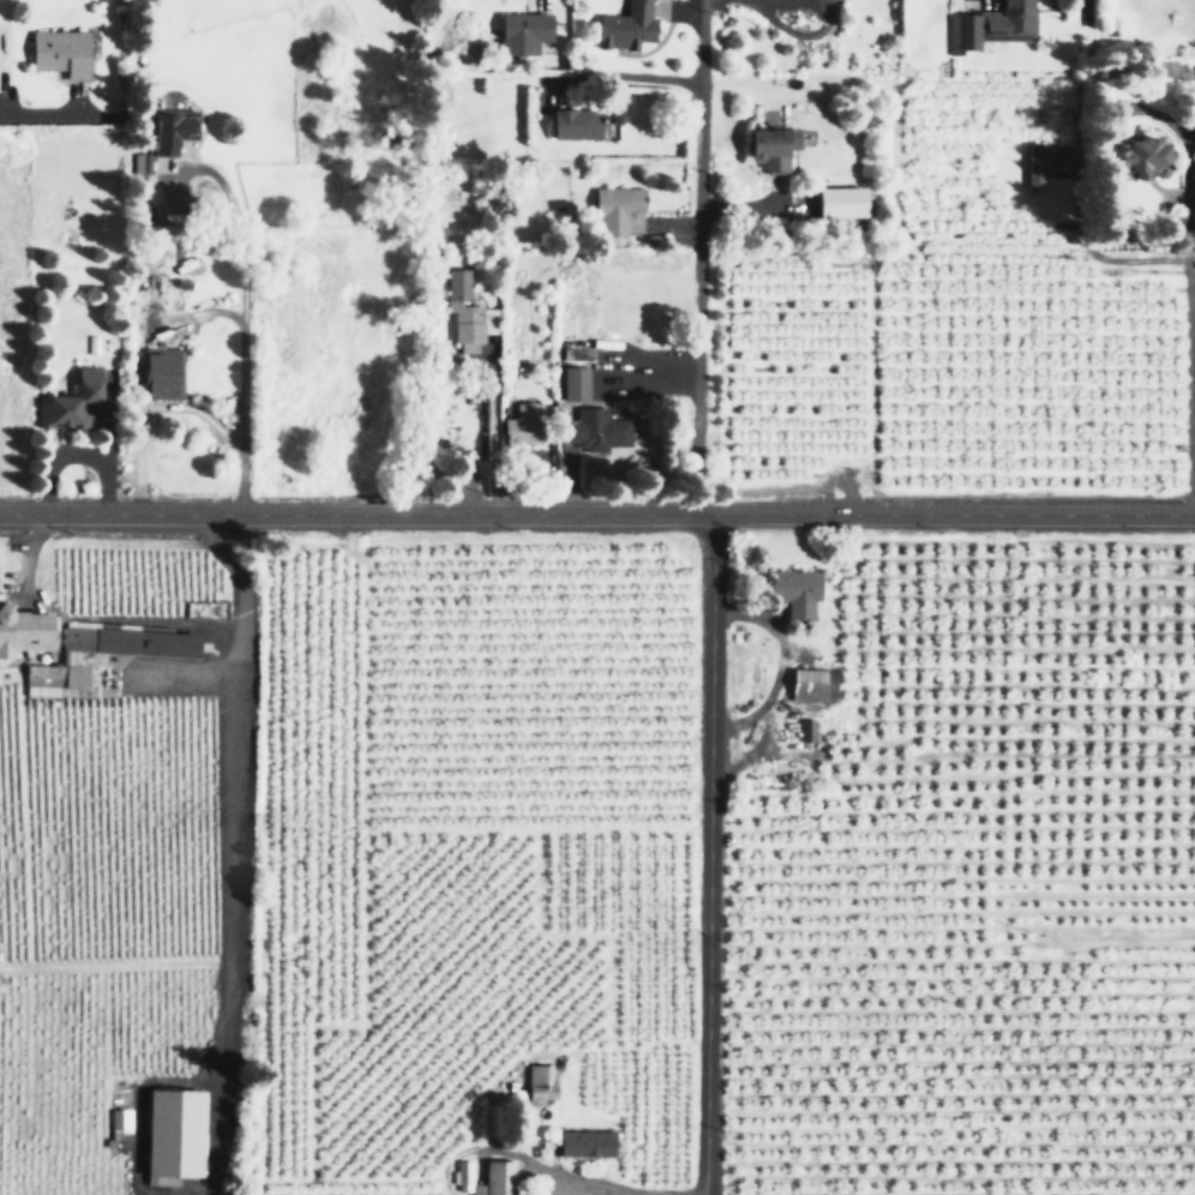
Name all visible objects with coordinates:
road: (1075, 11)
building: (986, 25)
building: (623, 28)
building: (527, 31)
building: (64, 52)
building: (0, 82)
road: (44, 115)
building: (581, 124)
building: (176, 131)
building: (763, 148)
building: (1130, 156)
building: (143, 162)
building: (1035, 166)
building: (846, 200)
building: (619, 208)
road: (690, 260)
building: (466, 310)
road: (244, 314)
building: (164, 372)
building: (577, 384)
road: (1194, 386)
building: (77, 402)
road: (150, 408)
building: (526, 424)
building: (599, 430)
road: (596, 515)
building: (791, 592)
building: (28, 629)
building: (133, 639)
road: (770, 665)
building: (58, 674)
building: (809, 684)
building: (804, 728)
road: (704, 854)
building: (538, 1081)
building: (121, 1119)
building: (176, 1133)
building: (582, 1142)
building: (484, 1177)

